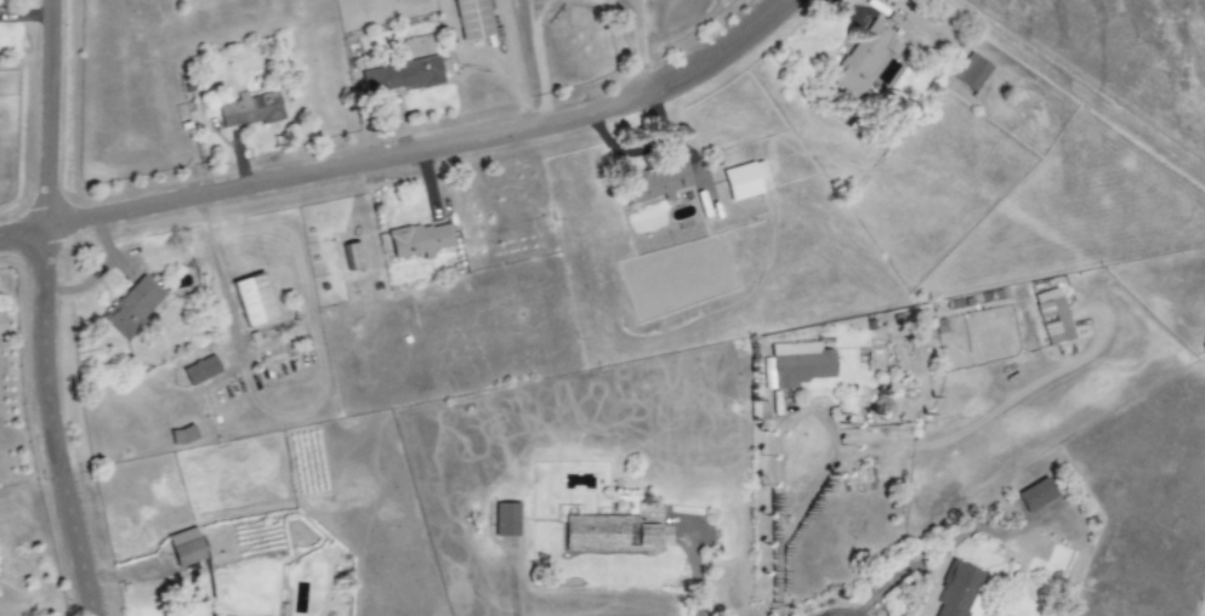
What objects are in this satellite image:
building: (472, 18)
building: (420, 46)
road: (638, 47)
building: (864, 58)
building: (971, 72)
building: (400, 76)
building: (249, 109)
road: (410, 152)
building: (745, 179)
building: (659, 182)
building: (420, 240)
building: (349, 256)
building: (252, 300)
building: (132, 307)
road: (46, 310)
building: (1052, 316)
building: (800, 363)
building: (200, 370)
building: (757, 410)
building: (1034, 495)
building: (505, 519)
road: (777, 520)
building: (596, 531)
building: (647, 536)
building: (184, 547)
building: (959, 592)

